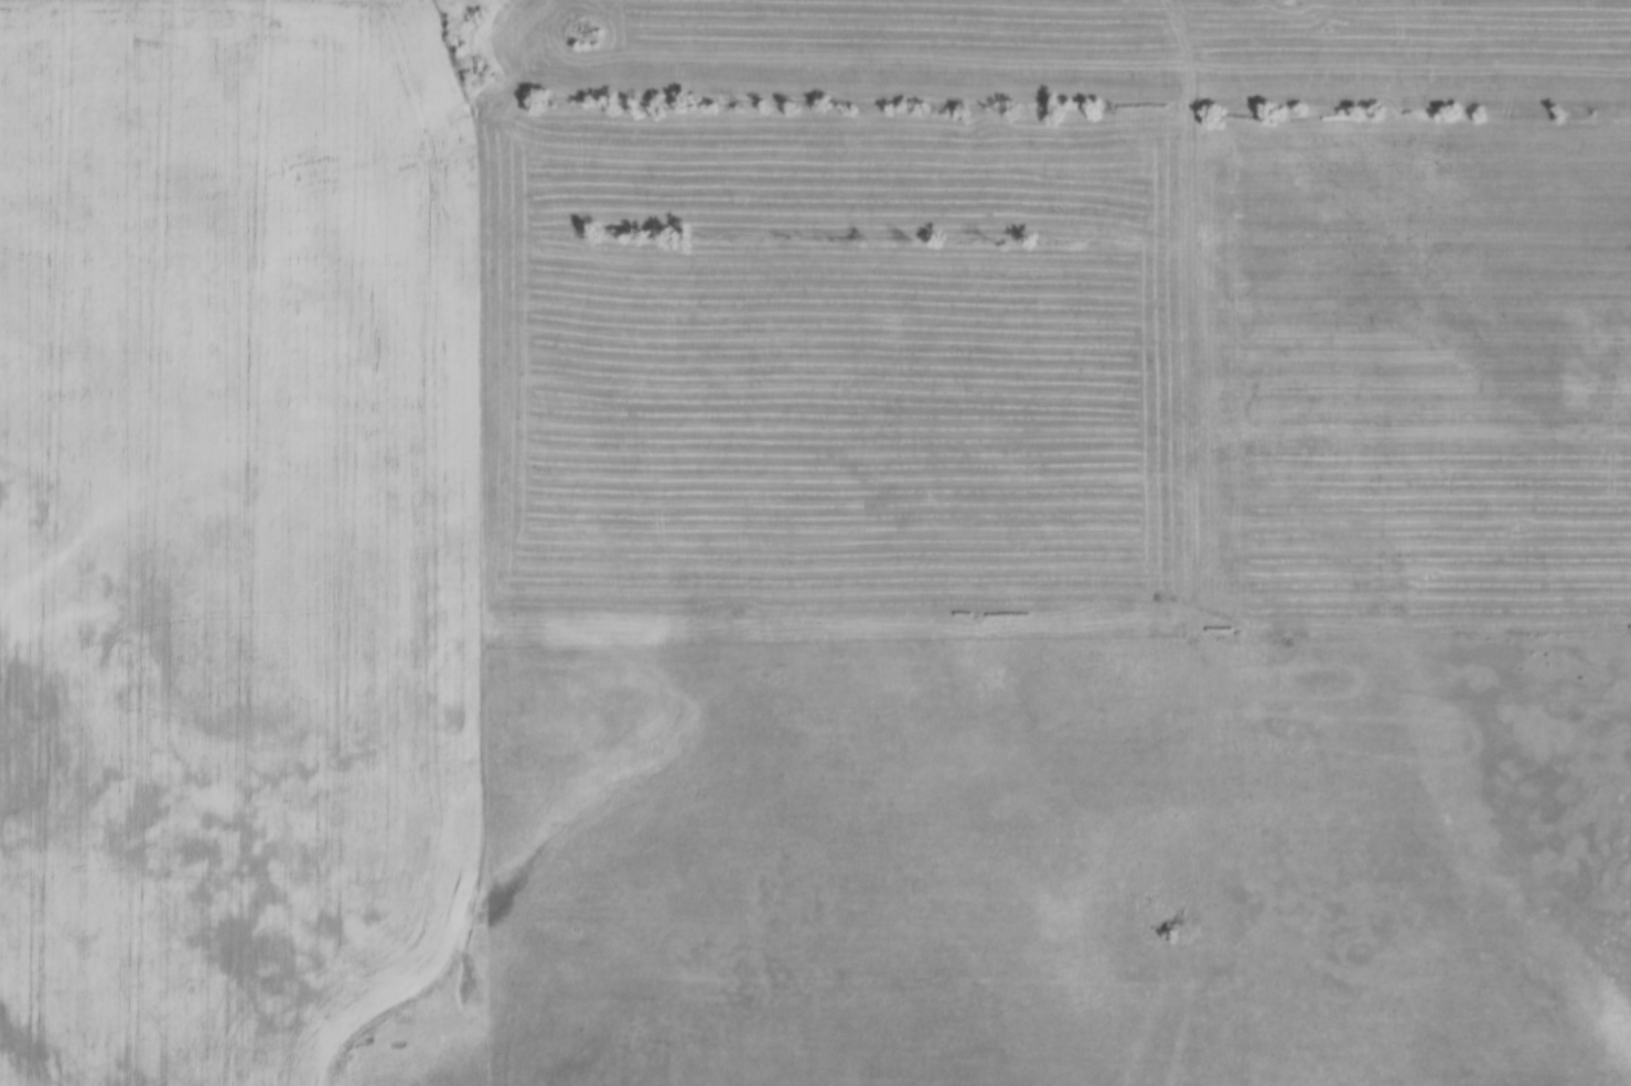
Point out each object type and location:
road: (1179, 24)

